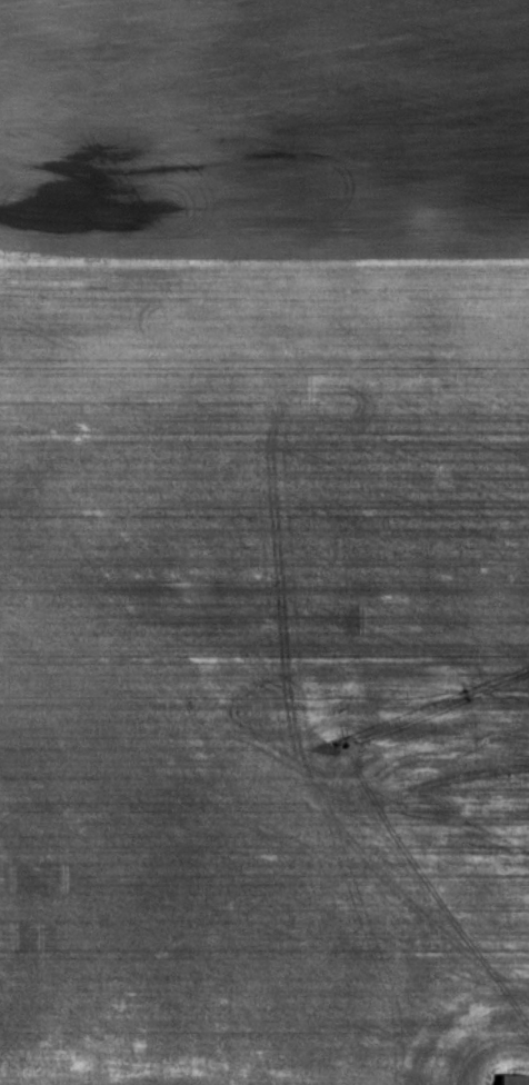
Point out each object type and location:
building: (513, 1079)

